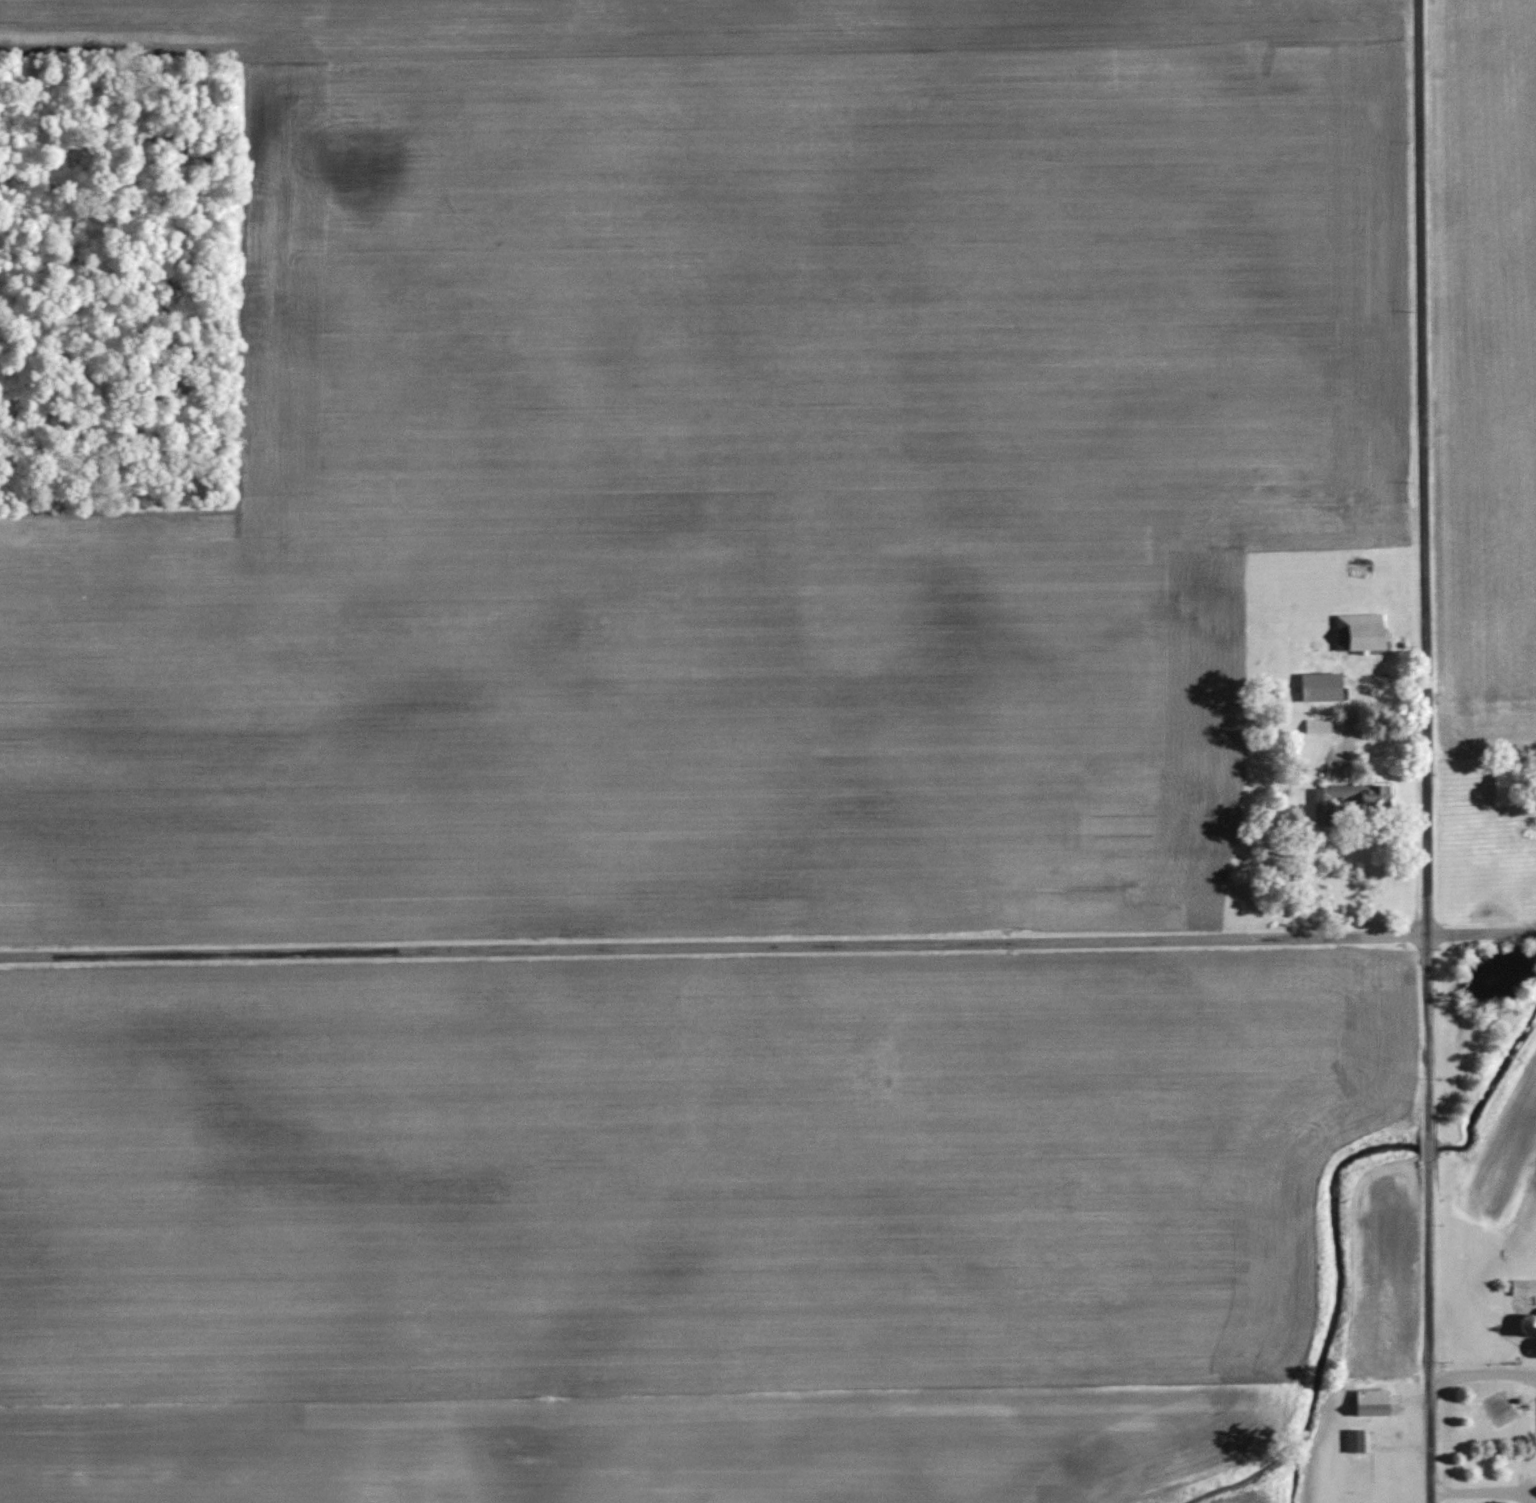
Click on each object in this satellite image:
building: (1360, 571)
building: (1359, 632)
building: (1321, 687)
road: (1425, 751)
building: (1371, 802)
road: (768, 942)
building: (1523, 1287)
building: (1528, 1325)
building: (1372, 1402)
building: (1354, 1443)

